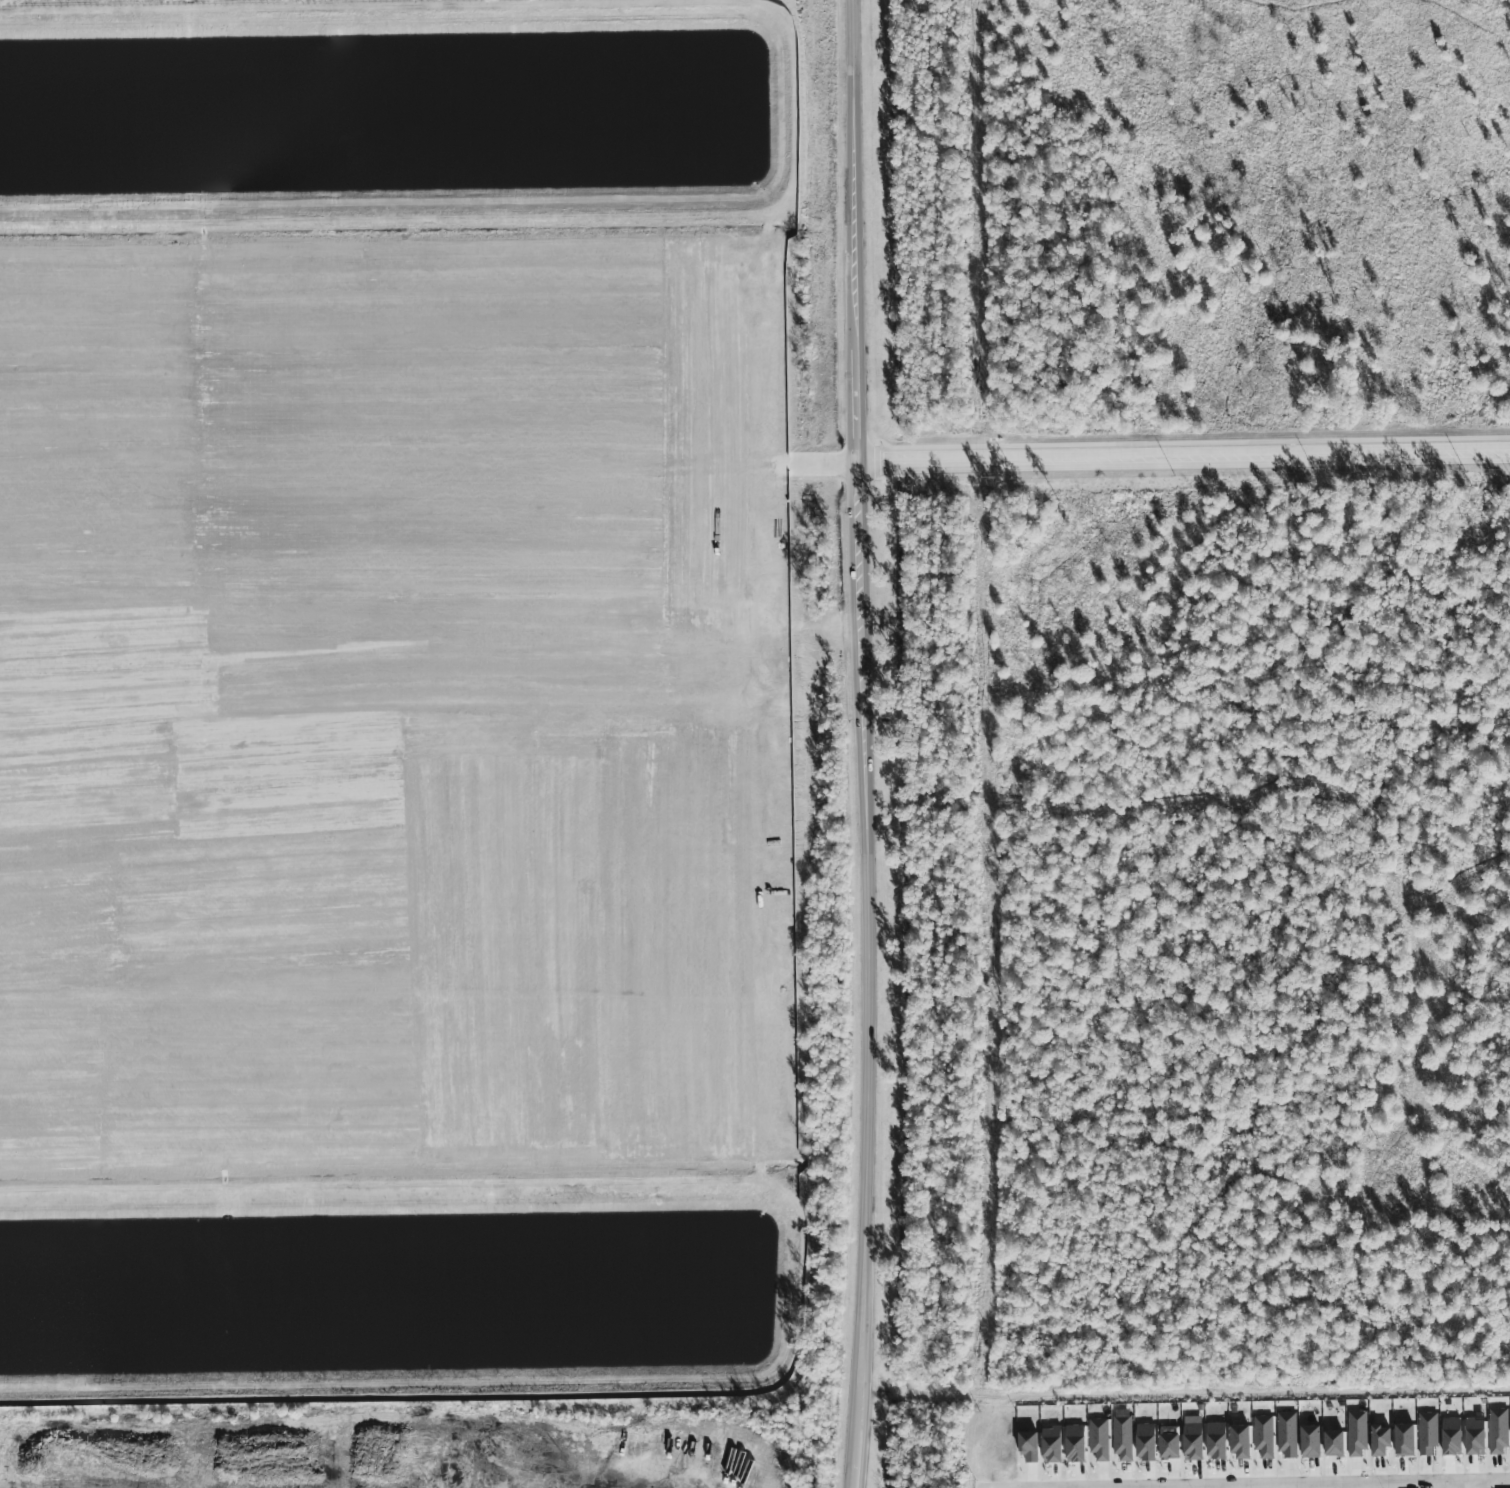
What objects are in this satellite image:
road: (1183, 458)
road: (861, 720)
building: (1498, 1430)
building: (1357, 1433)
building: (1428, 1434)
building: (1287, 1435)
building: (1476, 1435)
building: (1264, 1436)
building: (1122, 1437)
building: (1452, 1437)
building: (1193, 1438)
building: (1099, 1439)
building: (1405, 1440)
building: (1217, 1441)
building: (1381, 1441)
building: (1146, 1442)
building: (1241, 1442)
building: (1311, 1442)
building: (1075, 1443)
building: (1335, 1444)
building: (1052, 1445)
building: (1029, 1446)
building: (1170, 1446)
road: (854, 1464)

